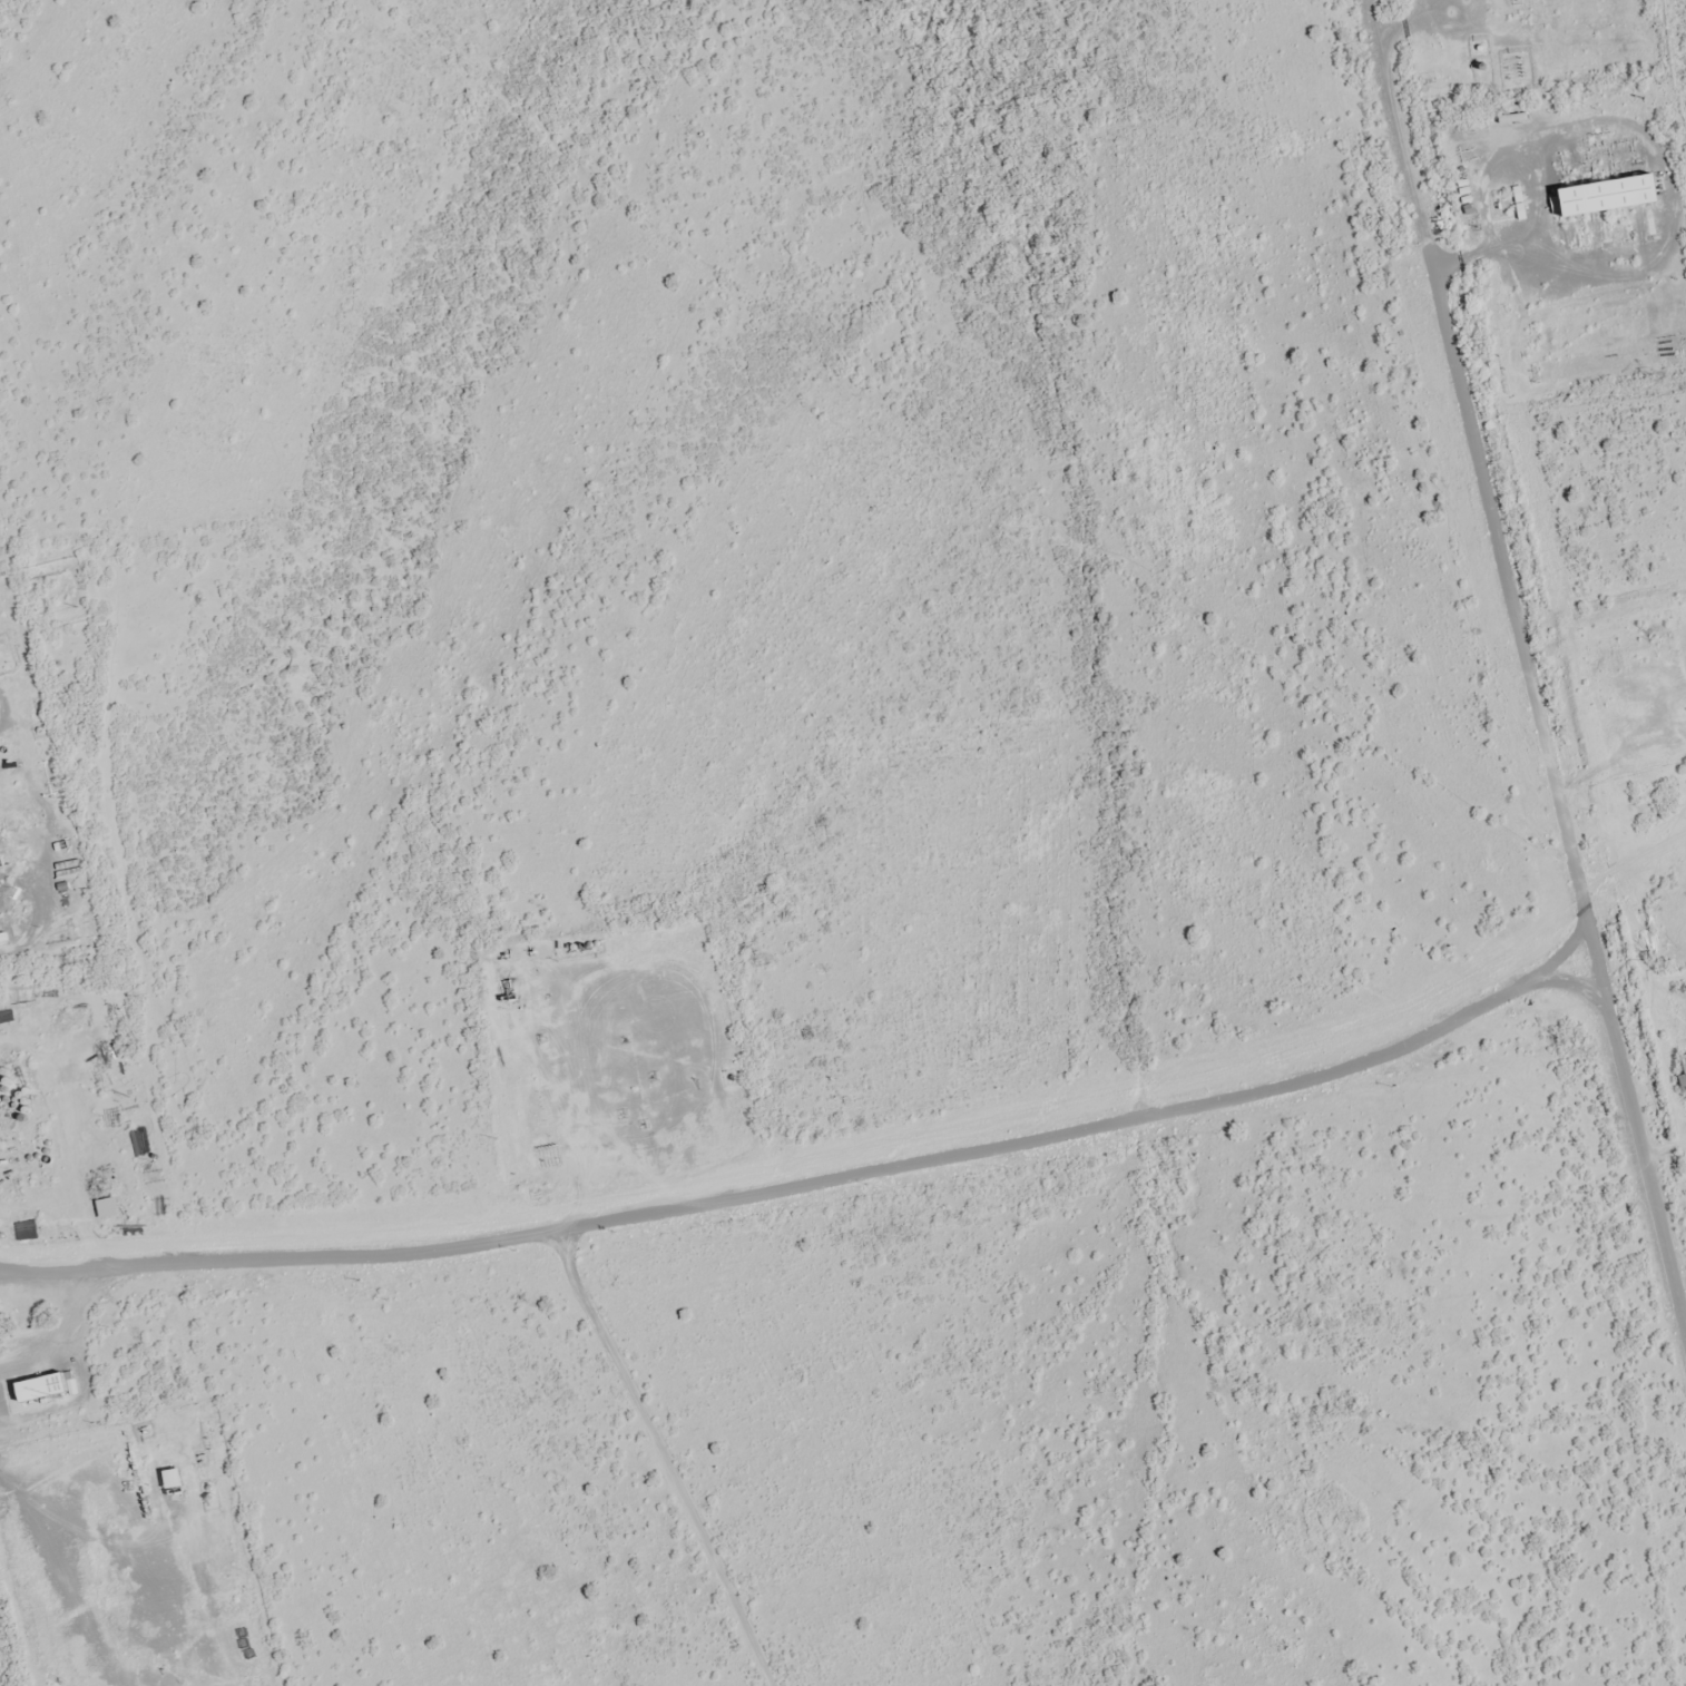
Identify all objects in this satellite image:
building: (1608, 195)
road: (1527, 663)
building: (537, 981)
building: (508, 984)
road: (1665, 1151)
building: (108, 1210)
building: (42, 1386)
building: (174, 1478)

